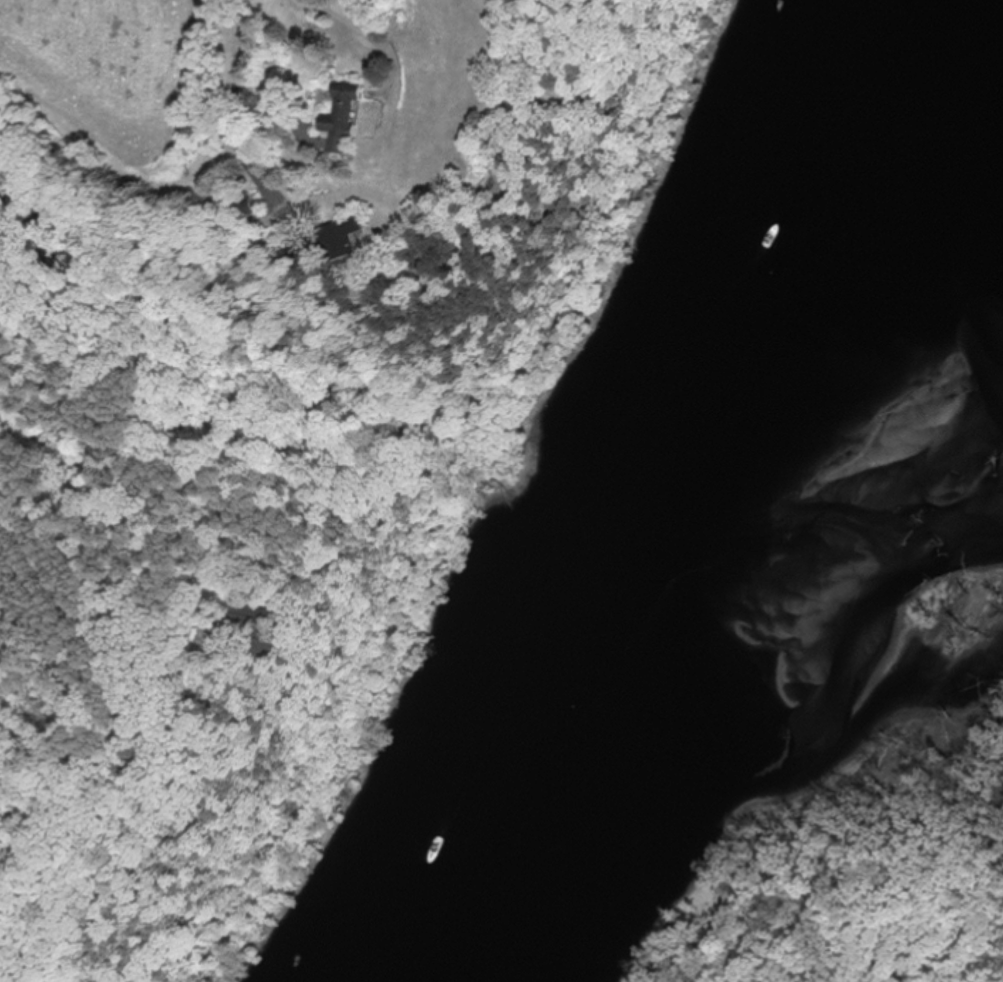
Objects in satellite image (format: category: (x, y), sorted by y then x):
road: (337, 28)
road: (236, 101)
building: (343, 121)
building: (348, 241)
river: (864, 397)
river: (992, 452)
river: (683, 481)
building: (260, 628)

